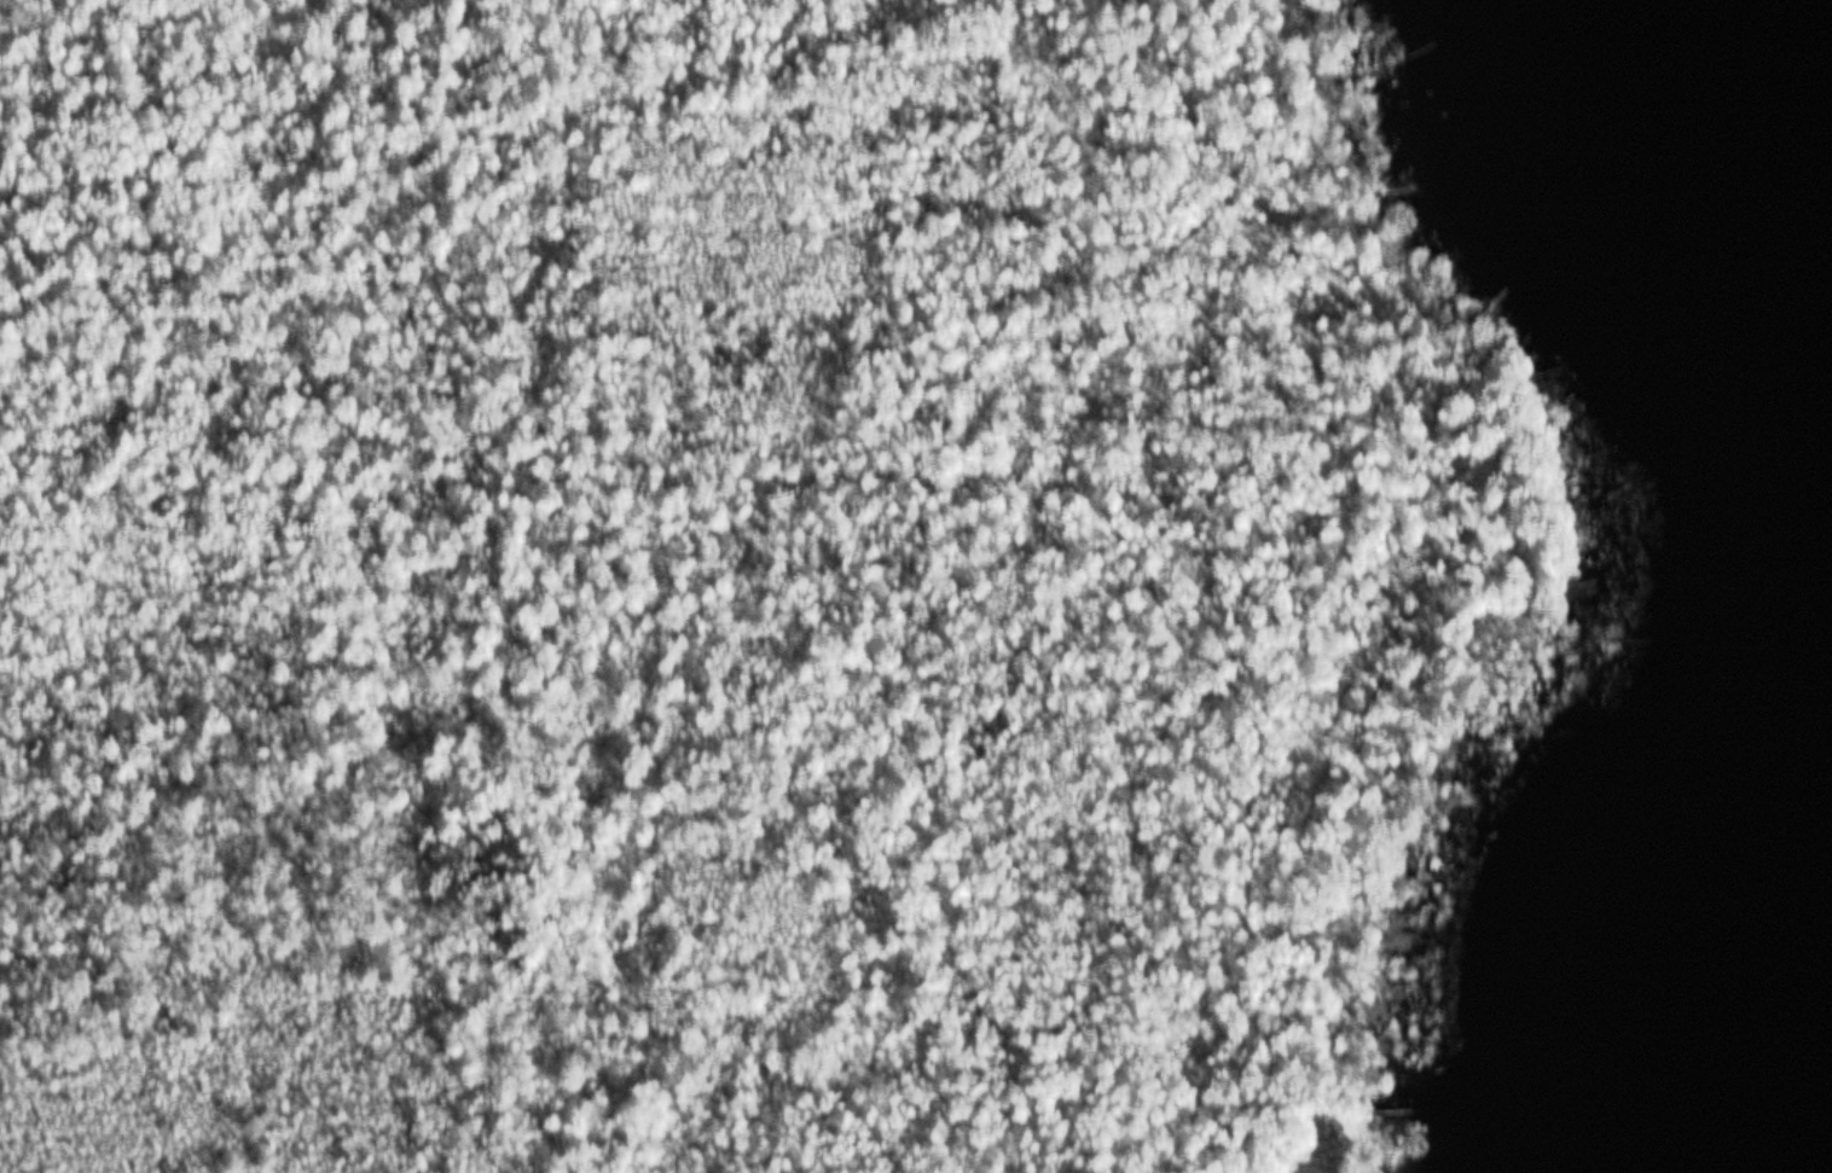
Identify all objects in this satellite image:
building: (1320, 1171)

